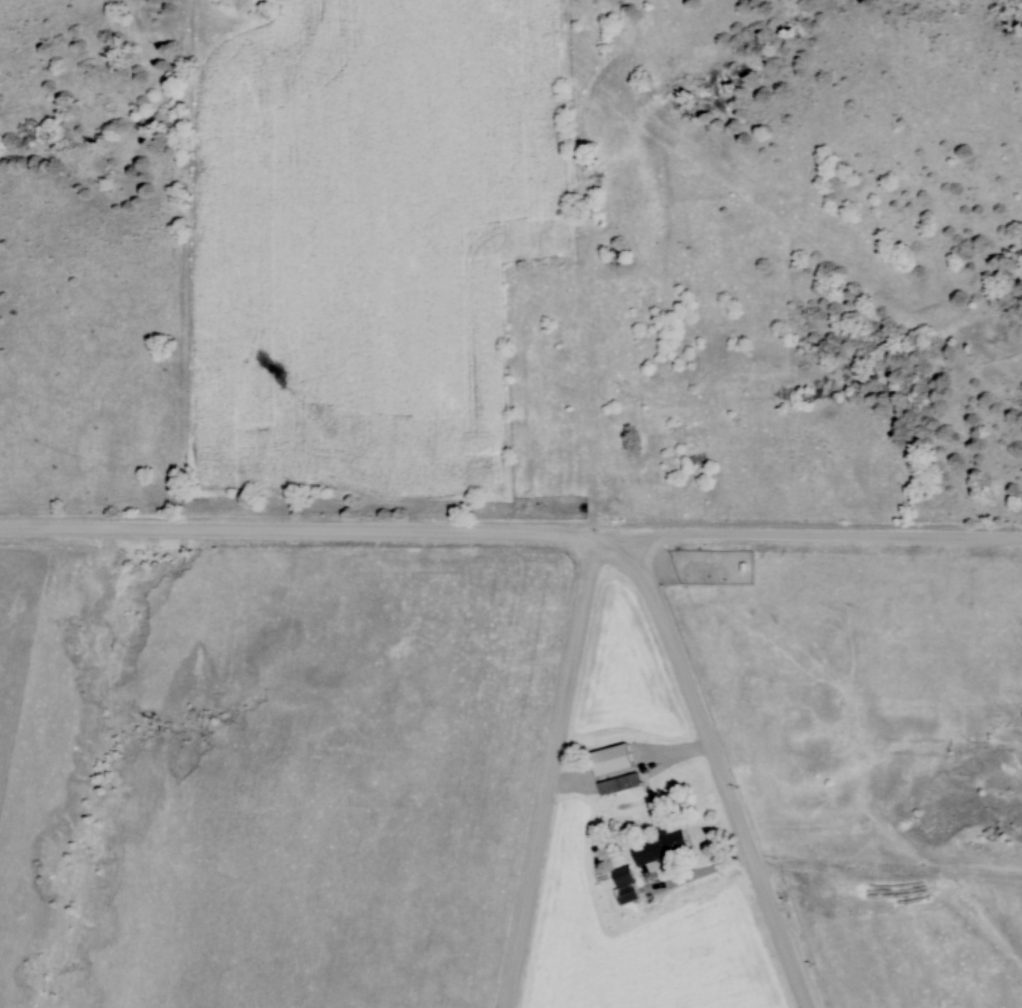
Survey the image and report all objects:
road: (511, 539)
road: (716, 768)
building: (614, 771)
road: (557, 775)
building: (657, 846)
building: (622, 876)

